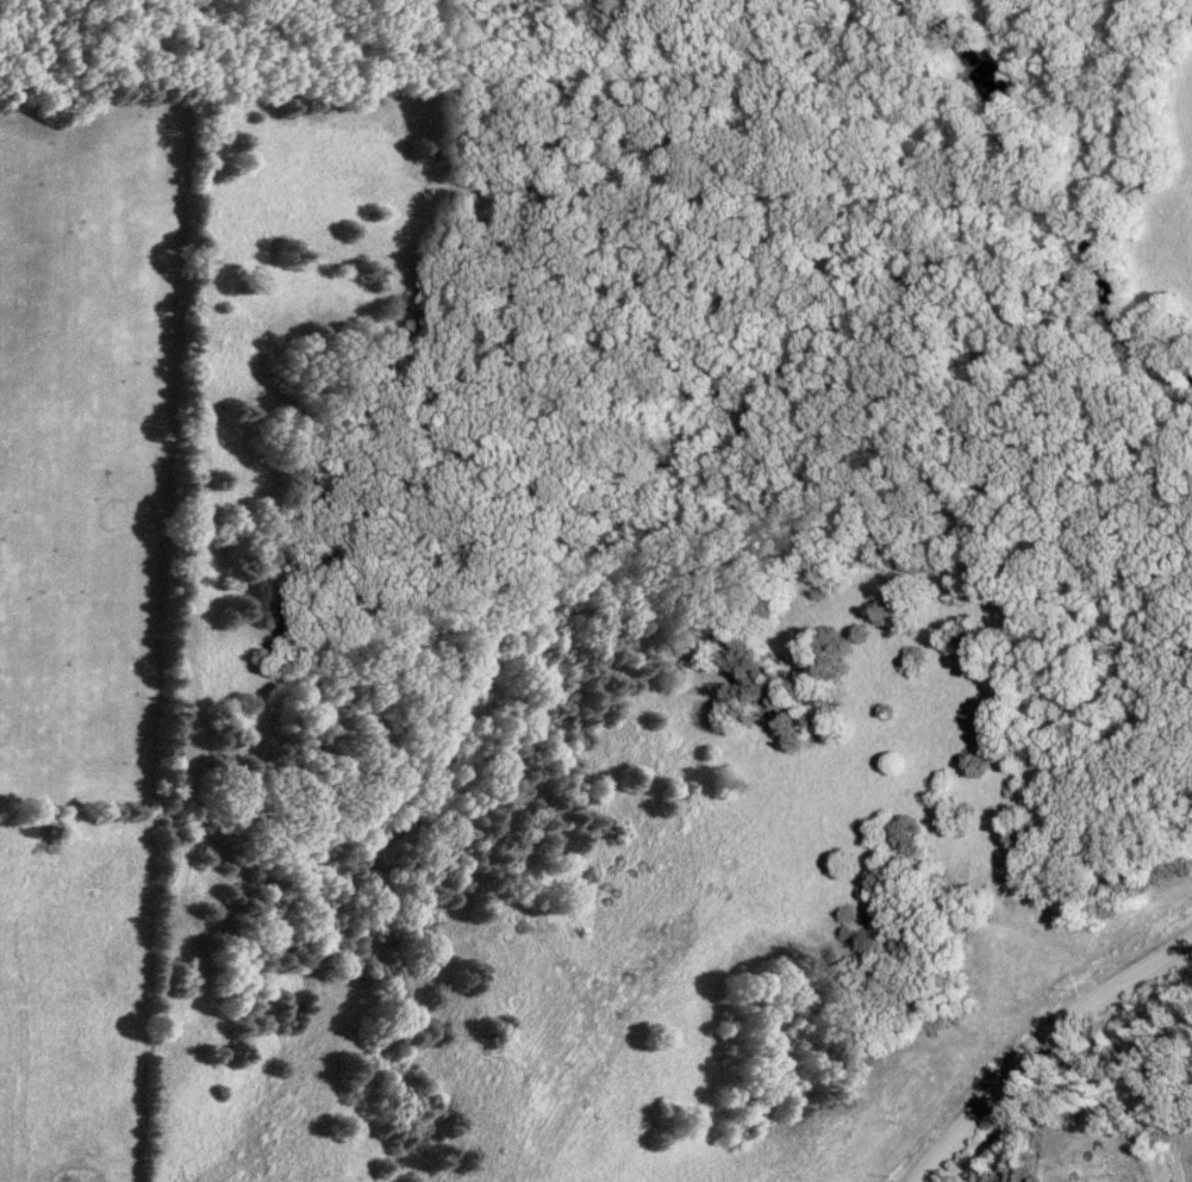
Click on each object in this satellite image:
road: (1034, 1038)

